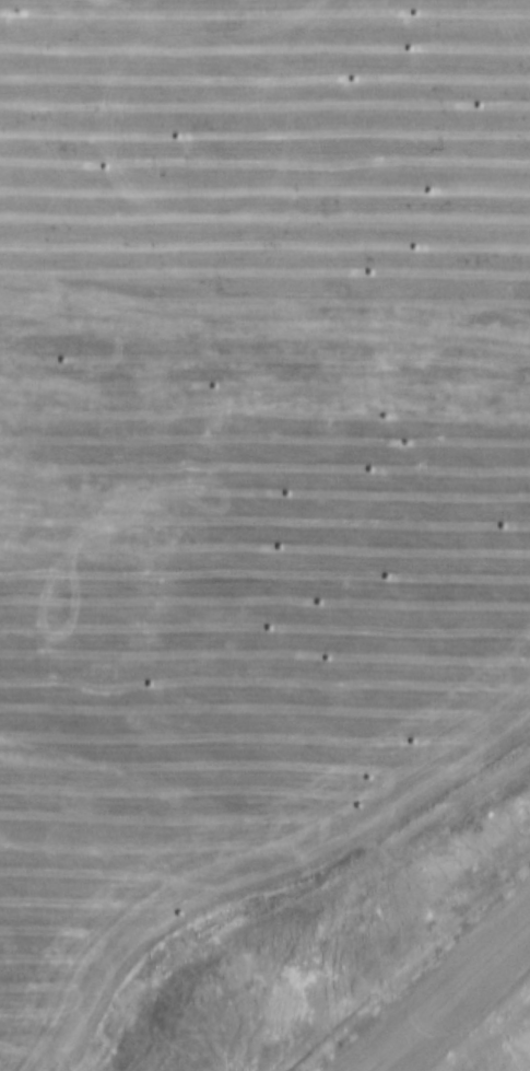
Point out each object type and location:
quarry: (413, 247)

